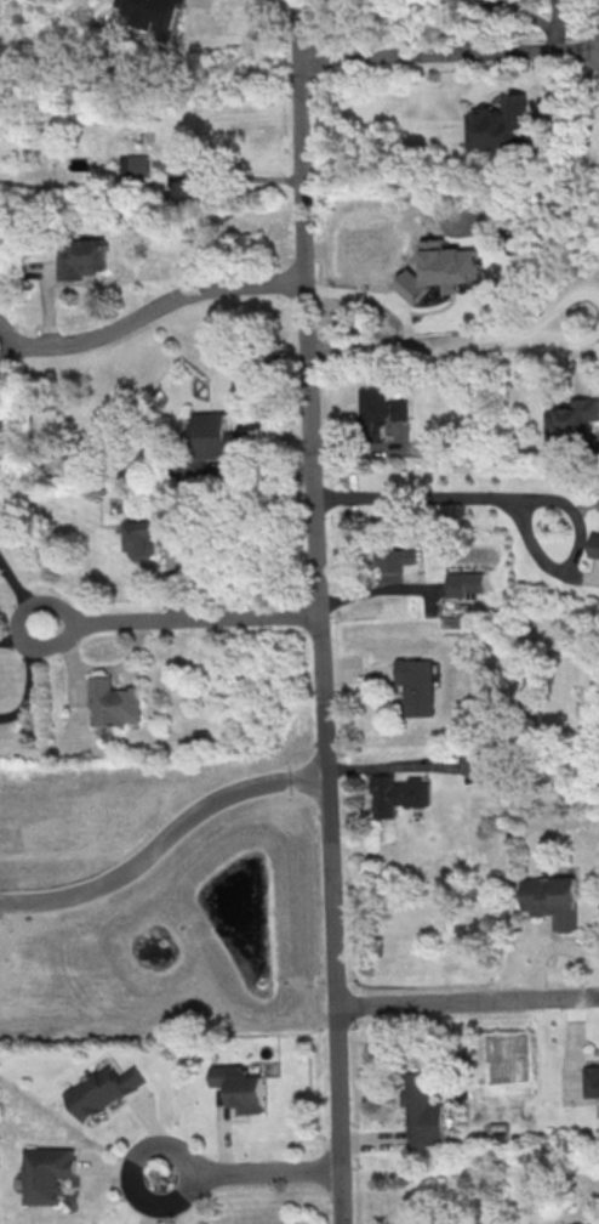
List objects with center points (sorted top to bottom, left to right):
building: (156, 13)
road: (449, 51)
building: (502, 123)
building: (133, 165)
road: (224, 176)
building: (188, 189)
building: (82, 257)
building: (445, 272)
road: (589, 308)
road: (149, 310)
road: (443, 340)
building: (375, 414)
building: (571, 420)
building: (204, 444)
road: (364, 448)
road: (257, 477)
road: (475, 497)
building: (149, 535)
building: (594, 544)
building: (392, 563)
building: (461, 583)
road: (380, 589)
road: (19, 594)
road: (319, 611)
road: (181, 619)
road: (35, 658)
road: (356, 674)
building: (413, 686)
building: (112, 702)
building: (469, 763)
road: (392, 765)
building: (395, 797)
road: (161, 838)
building: (548, 900)
road: (467, 999)
building: (589, 1081)
building: (239, 1088)
building: (102, 1089)
building: (418, 1111)
road: (371, 1140)
road: (249, 1172)
building: (45, 1173)
building: (429, 1223)

